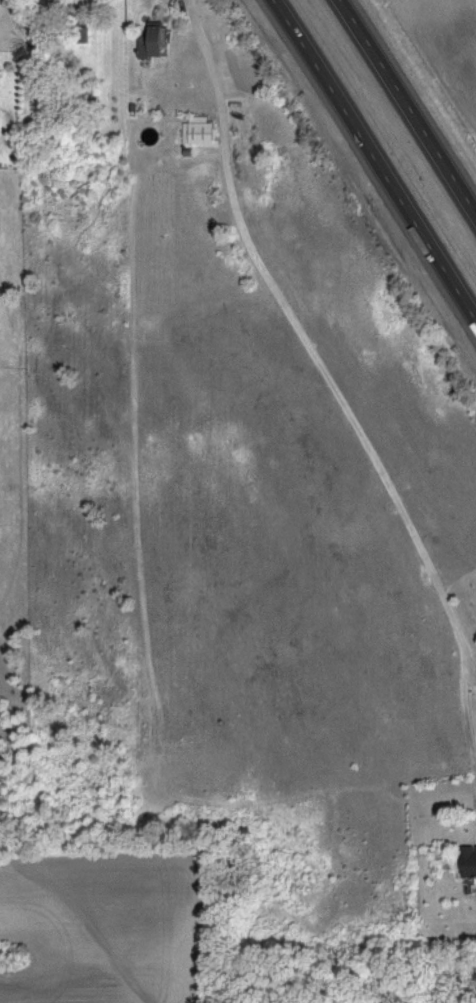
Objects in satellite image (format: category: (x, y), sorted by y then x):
building: (56, 3)
building: (152, 39)
building: (0, 69)
road: (409, 106)
building: (199, 130)
road: (374, 160)
road: (336, 390)
road: (465, 646)
building: (468, 860)

